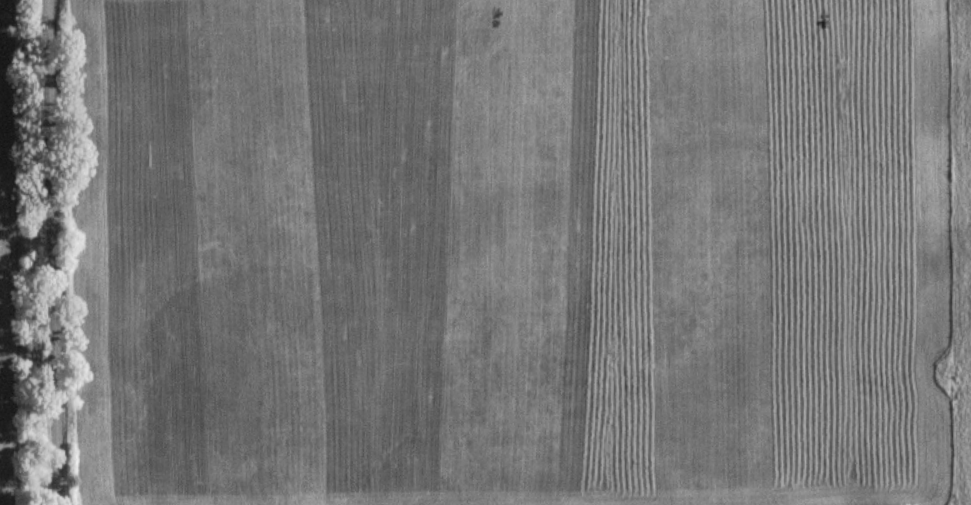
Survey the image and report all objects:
road: (53, 252)

